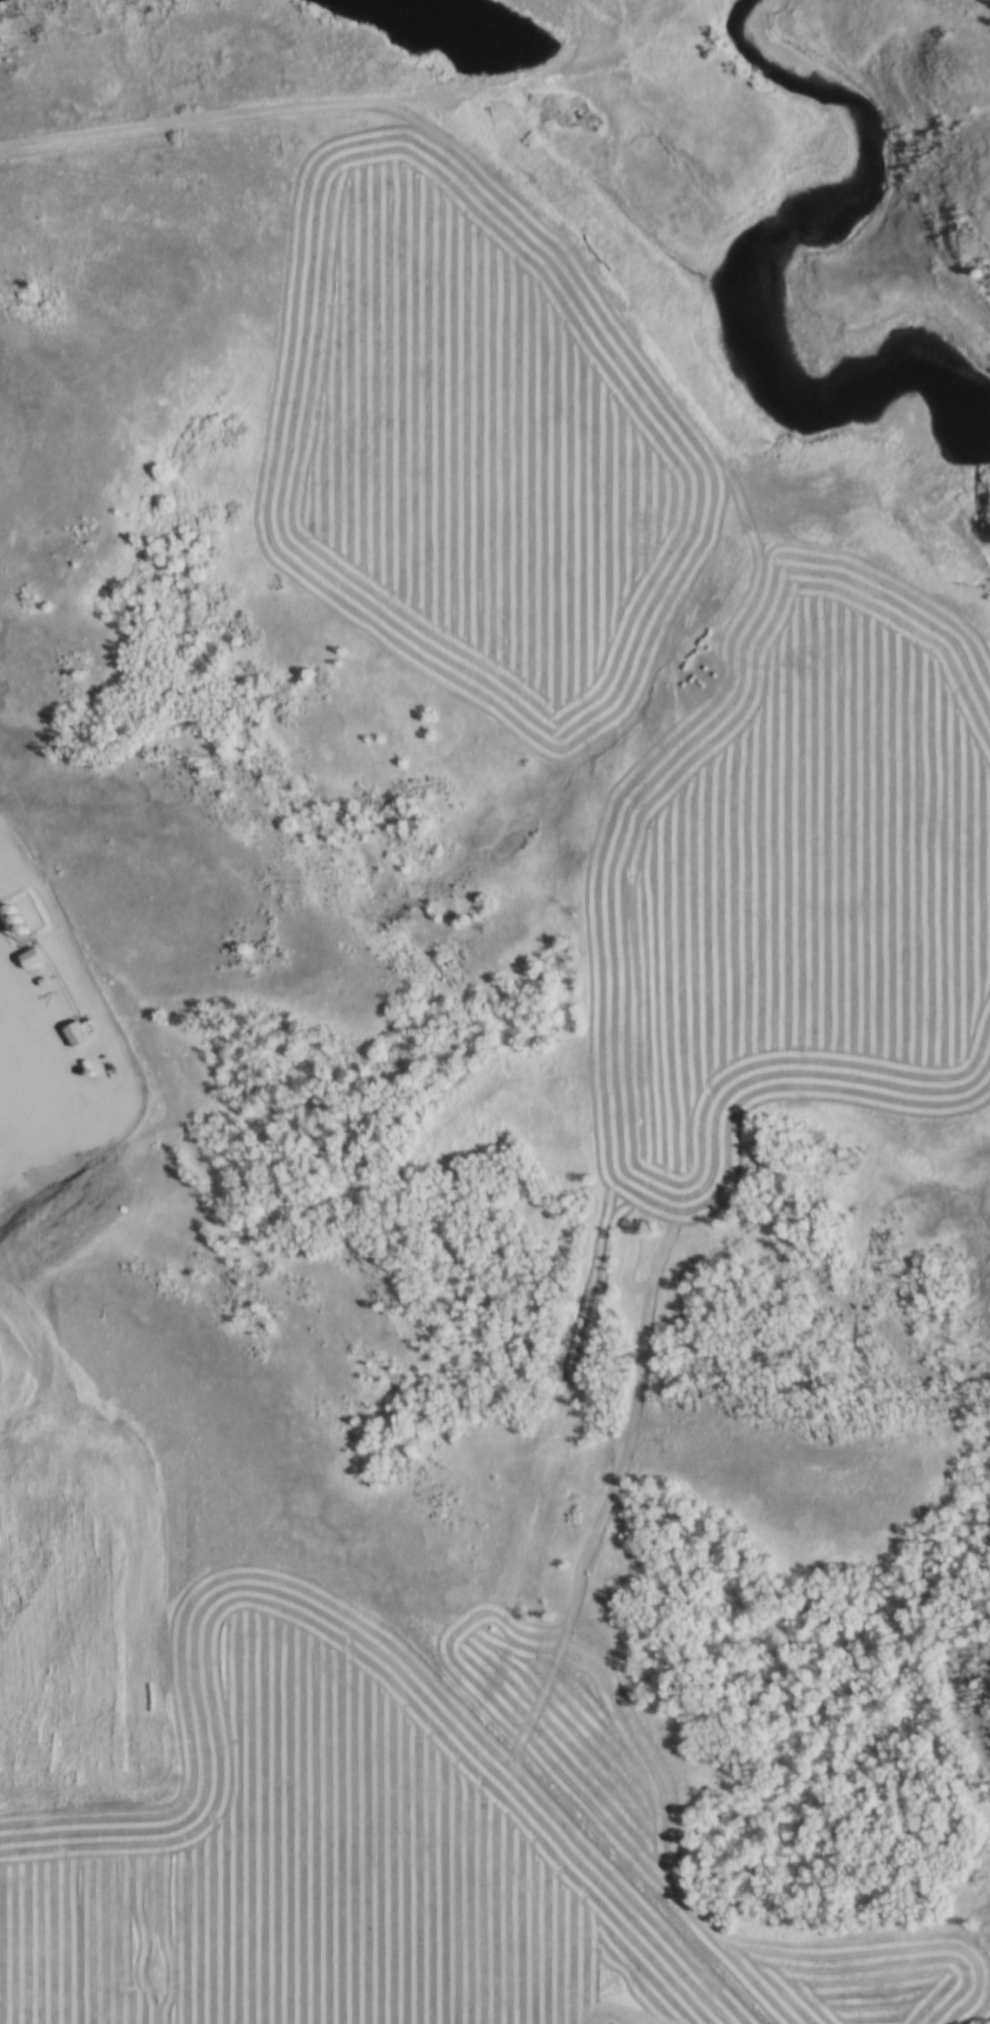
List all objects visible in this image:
road: (230, 121)
building: (29, 960)
building: (73, 1035)
road: (28, 1043)
road: (3, 1447)
building: (4, 1696)

